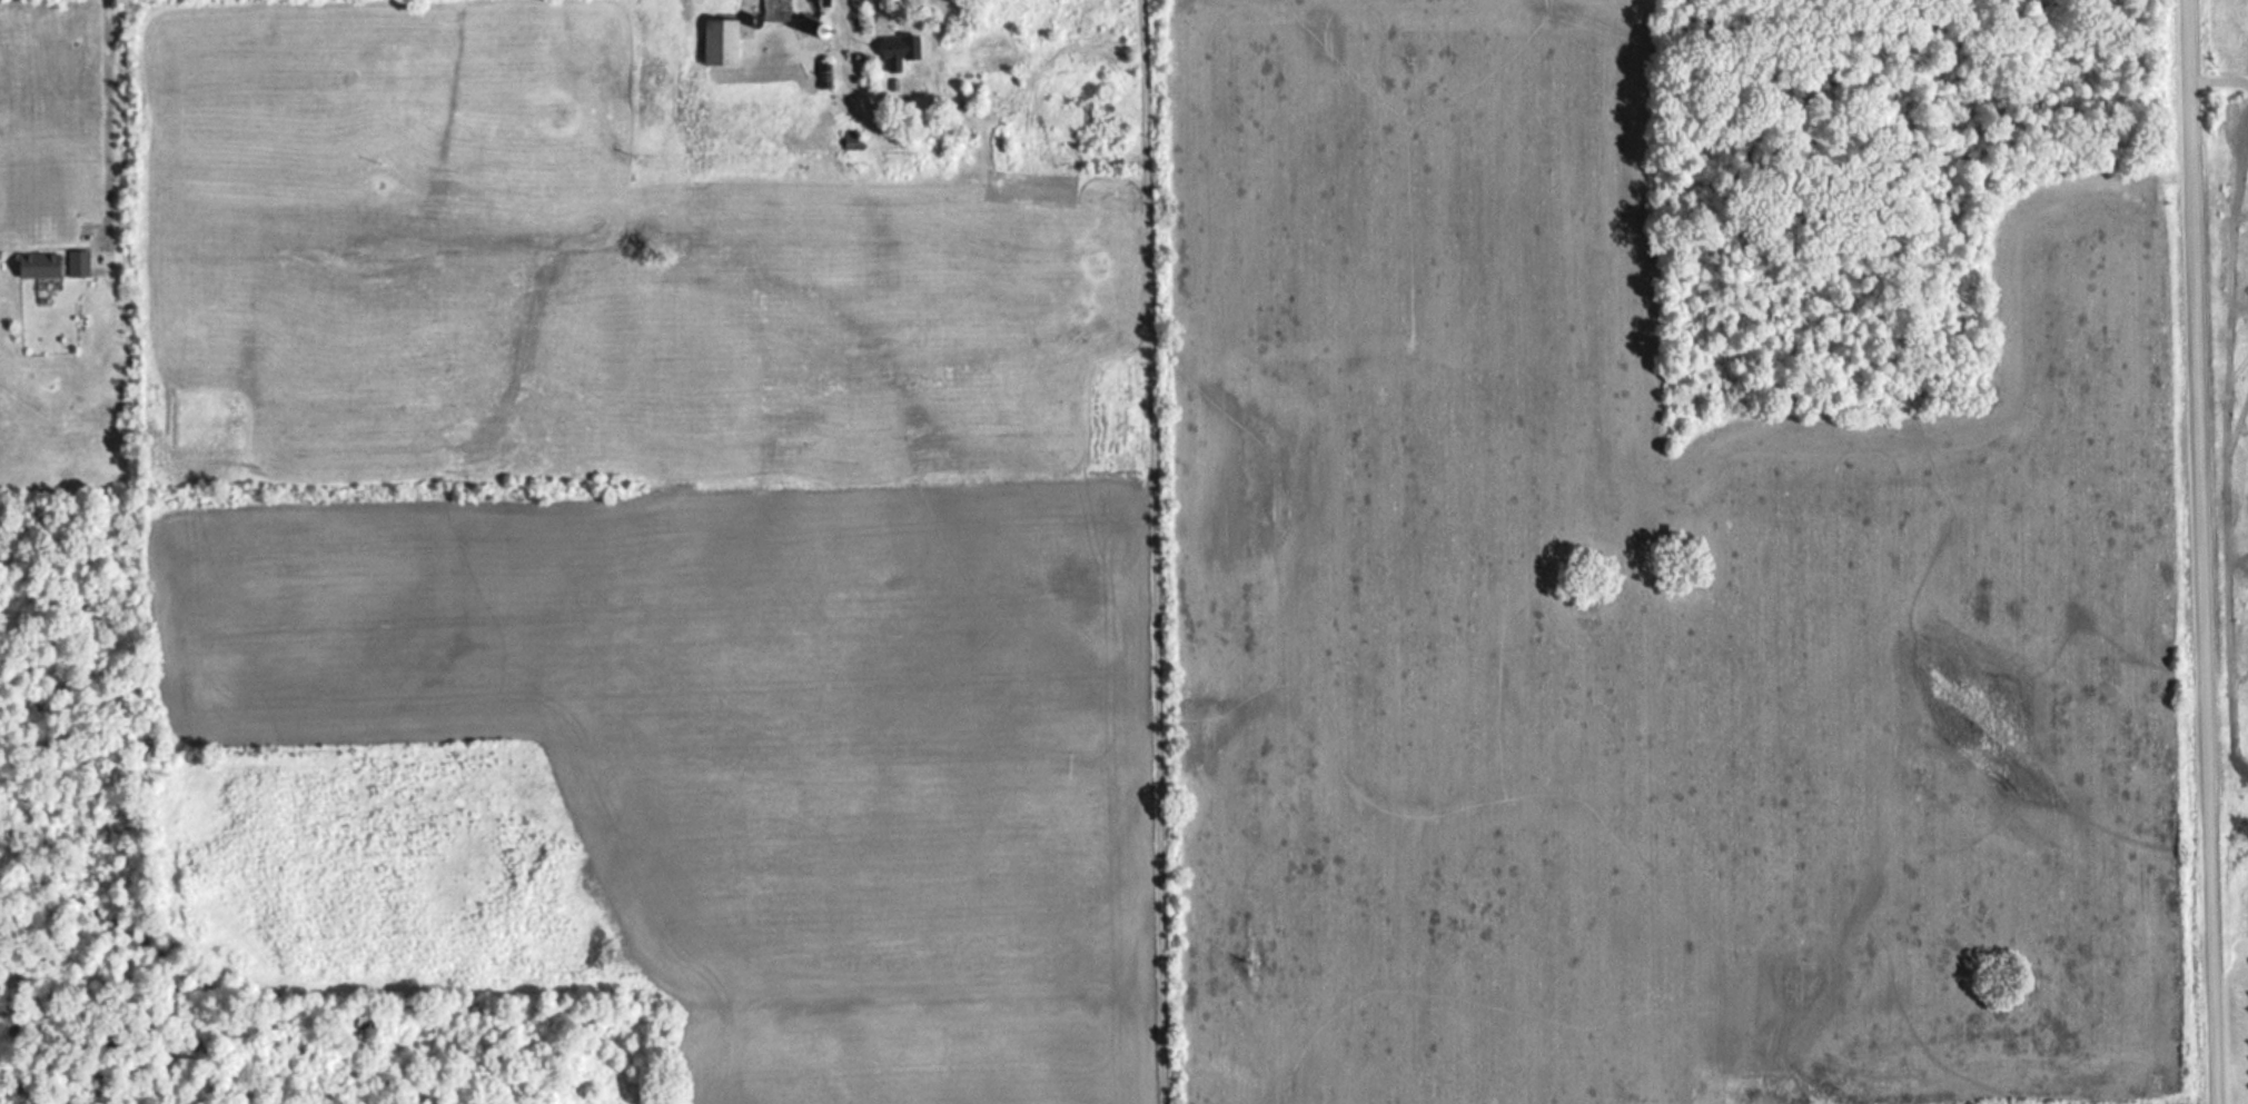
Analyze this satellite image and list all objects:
building: (798, 11)
building: (725, 43)
building: (902, 52)
road: (113, 120)
building: (81, 266)
building: (43, 267)
road: (1160, 551)
road: (2198, 551)

